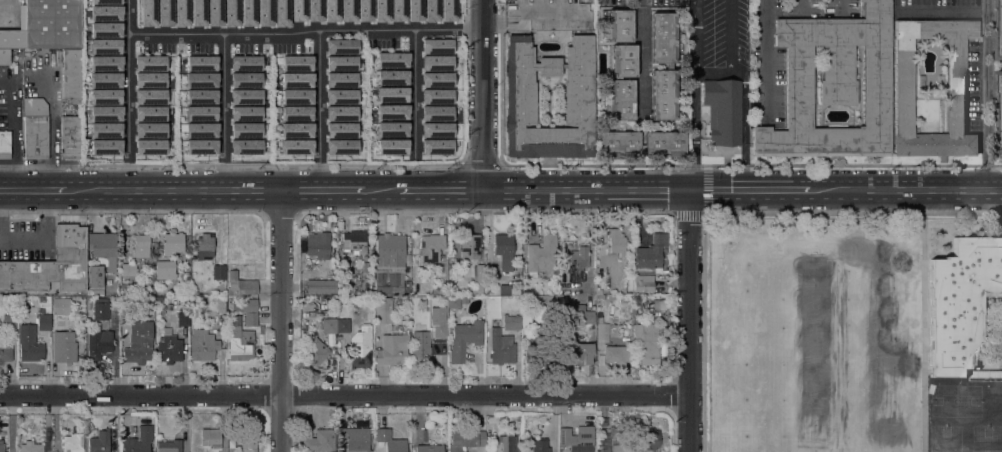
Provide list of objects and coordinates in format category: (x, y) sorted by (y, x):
building: (102, 4)
building: (298, 10)
building: (314, 10)
building: (331, 10)
building: (347, 10)
building: (364, 10)
building: (381, 10)
building: (397, 10)
building: (414, 10)
building: (431, 10)
building: (447, 10)
building: (144, 12)
building: (161, 12)
building: (198, 12)
building: (214, 12)
building: (247, 12)
building: (264, 12)
building: (181, 13)
building: (231, 13)
building: (281, 13)
building: (549, 15)
building: (102, 17)
building: (45, 26)
building: (620, 26)
road: (366, 29)
building: (999, 30)
building: (102, 34)
road: (696, 35)
road: (222, 36)
building: (340, 46)
building: (436, 46)
building: (102, 50)
road: (732, 54)
road: (766, 54)
building: (4, 56)
road: (414, 58)
building: (392, 59)
building: (340, 62)
building: (435, 62)
building: (200, 63)
building: (244, 63)
building: (296, 63)
building: (563, 65)
building: (102, 66)
building: (150, 66)
building: (668, 66)
building: (71, 74)
building: (392, 76)
building: (200, 79)
building: (245, 79)
building: (296, 79)
building: (340, 79)
building: (435, 79)
building: (150, 82)
building: (103, 83)
building: (621, 83)
building: (833, 85)
building: (904, 86)
building: (391, 94)
road: (985, 94)
road: (127, 95)
road: (483, 95)
building: (201, 96)
building: (244, 96)
building: (296, 96)
building: (340, 96)
building: (436, 96)
building: (150, 98)
building: (520, 98)
building: (103, 99)
road: (318, 109)
building: (392, 111)
building: (723, 111)
building: (340, 112)
building: (435, 112)
building: (999, 112)
building: (200, 113)
road: (222, 113)
building: (245, 113)
building: (296, 113)
building: (150, 115)
building: (103, 116)
building: (35, 128)
building: (200, 129)
building: (296, 129)
building: (340, 129)
building: (392, 129)
building: (436, 129)
building: (150, 131)
road: (694, 131)
building: (103, 132)
building: (70, 137)
building: (244, 138)
building: (619, 138)
building: (5, 144)
building: (201, 146)
building: (296, 146)
building: (340, 146)
building: (391, 146)
building: (436, 146)
building: (103, 148)
building: (150, 148)
road: (34, 189)
road: (173, 190)
road: (321, 190)
road: (383, 190)
road: (442, 190)
road: (750, 190)
road: (907, 190)
road: (586, 191)
road: (734, 213)
building: (354, 242)
building: (616, 242)
building: (172, 243)
building: (141, 245)
building: (318, 245)
building: (204, 246)
building: (470, 246)
building: (431, 247)
building: (103, 248)
building: (504, 249)
building: (542, 254)
building: (651, 254)
building: (389, 264)
building: (577, 264)
building: (50, 265)
building: (129, 270)
building: (165, 270)
building: (219, 272)
building: (479, 277)
building: (643, 283)
building: (240, 285)
building: (321, 286)
building: (91, 292)
building: (515, 292)
building: (180, 300)
building: (511, 301)
building: (454, 302)
building: (543, 302)
building: (961, 302)
building: (82, 303)
building: (88, 303)
building: (61, 306)
building: (100, 309)
building: (247, 310)
building: (383, 310)
building: (583, 314)
building: (183, 316)
building: (526, 319)
road: (280, 320)
building: (44, 321)
road: (688, 321)
building: (9, 322)
building: (329, 325)
building: (343, 326)
building: (403, 330)
building: (440, 330)
building: (464, 339)
building: (504, 339)
building: (646, 340)
building: (139, 342)
building: (240, 342)
building: (30, 344)
building: (99, 344)
building: (203, 345)
building: (64, 347)
building: (169, 349)
building: (393, 351)
building: (315, 352)
building: (421, 353)
building: (6, 354)
building: (576, 354)
building: (616, 354)
building: (360, 356)
building: (993, 374)
road: (344, 394)
building: (211, 437)
building: (145, 438)
building: (620, 438)
building: (356, 439)
building: (465, 439)
building: (577, 439)
building: (247, 440)
building: (318, 440)
building: (647, 440)
building: (72, 441)
building: (390, 441)
building: (100, 442)
building: (508, 442)
building: (540, 445)
building: (169, 446)
building: (2, 447)
building: (31, 447)
building: (429, 448)

